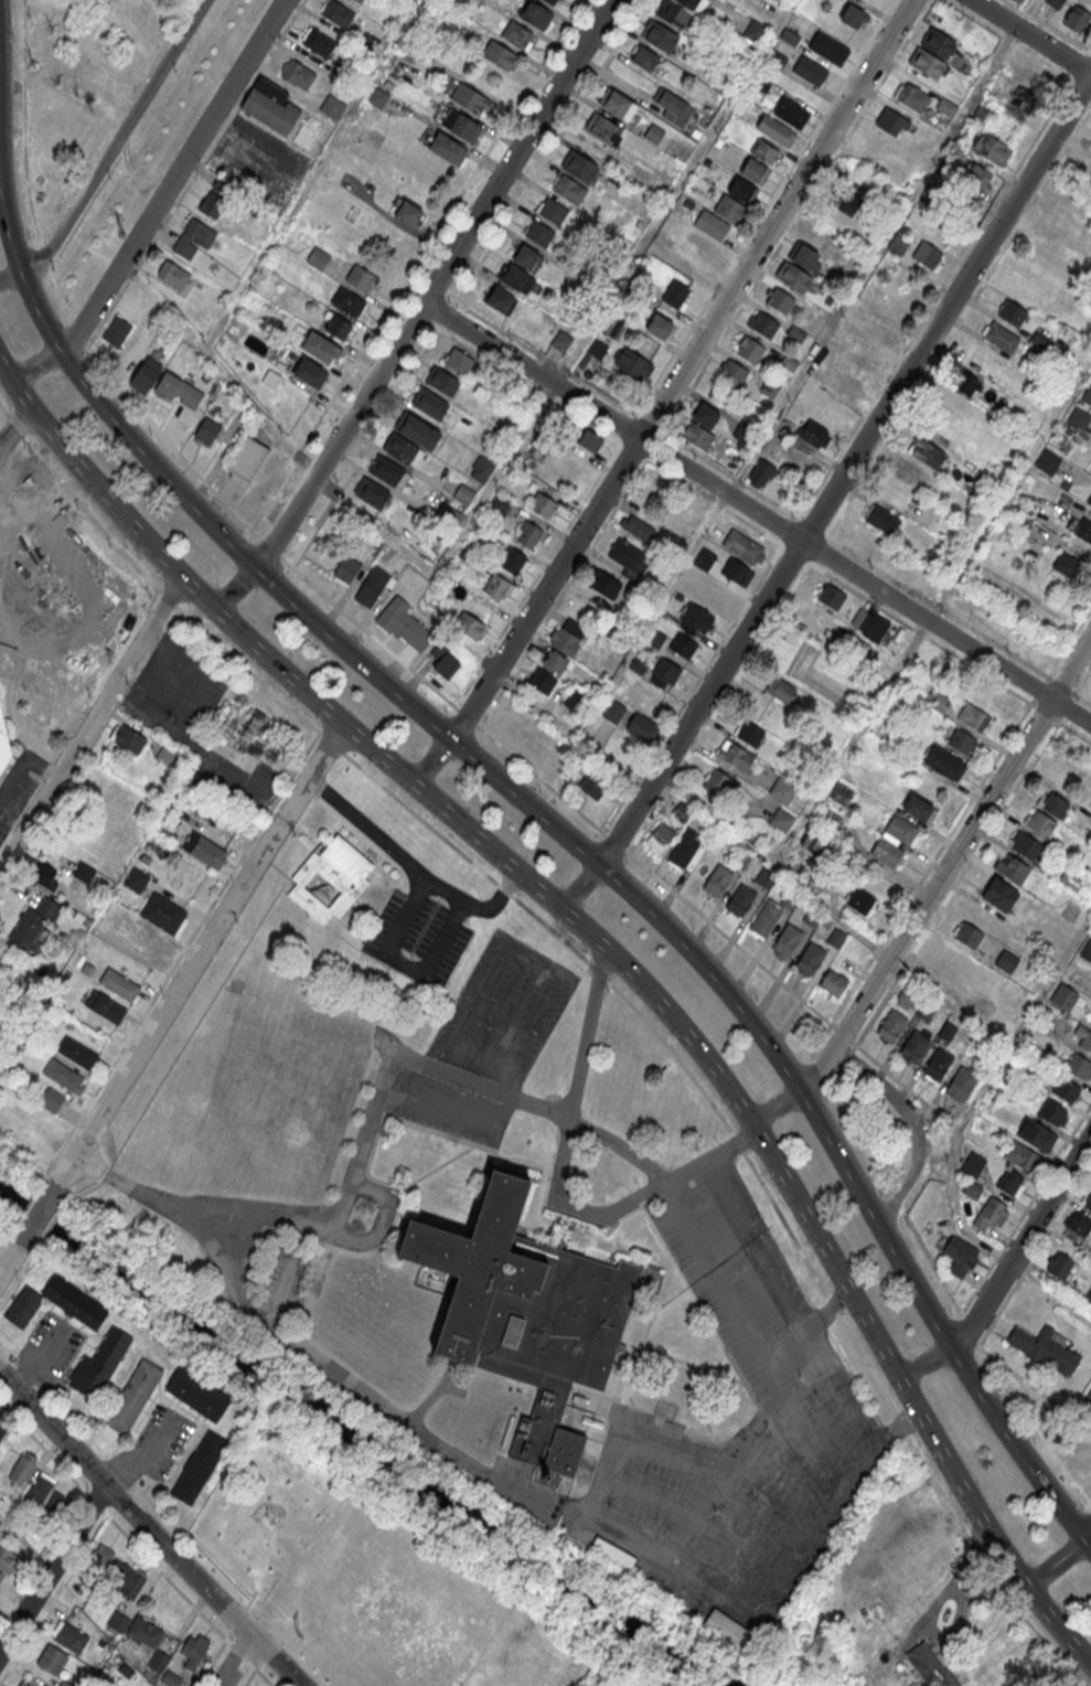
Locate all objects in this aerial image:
building: (359, 1)
building: (1018, 1)
building: (550, 2)
building: (689, 3)
building: (336, 13)
building: (673, 13)
road: (1024, 13)
building: (536, 15)
building: (854, 17)
building: (1078, 19)
road: (1046, 25)
building: (753, 32)
building: (518, 35)
road: (1030, 36)
building: (660, 38)
building: (789, 38)
building: (370, 41)
building: (318, 42)
building: (939, 44)
road: (1022, 47)
building: (828, 50)
road: (1090, 52)
building: (499, 55)
building: (644, 60)
building: (776, 60)
building: (926, 64)
building: (809, 71)
building: (298, 75)
building: (761, 84)
building: (911, 97)
building: (1023, 98)
building: (468, 99)
building: (270, 106)
building: (618, 106)
building: (332, 108)
building: (673, 108)
building: (945, 108)
building: (790, 114)
building: (980, 116)
building: (54, 118)
building: (890, 121)
road: (24, 122)
building: (460, 125)
building: (83, 127)
building: (605, 129)
building: (774, 130)
building: (308, 131)
building: (654, 135)
road: (110, 149)
building: (447, 149)
building: (991, 149)
building: (766, 151)
parking lot: (257, 159)
building: (579, 168)
building: (755, 171)
building: (1085, 174)
road: (173, 175)
building: (980, 177)
building: (741, 190)
building: (569, 191)
building: (217, 198)
building: (846, 202)
building: (728, 207)
building: (553, 212)
building: (408, 213)
building: (712, 224)
building: (1072, 225)
road: (439, 226)
building: (539, 234)
power tower: (120, 235)
building: (193, 238)
building: (898, 244)
building: (710, 249)
building: (927, 254)
road: (43, 257)
building: (806, 257)
building: (528, 258)
building: (318, 259)
road: (20, 269)
building: (172, 276)
building: (793, 276)
building: (516, 278)
building: (362, 279)
building: (675, 294)
building: (499, 299)
building: (779, 300)
building: (349, 303)
road: (419, 308)
building: (1012, 312)
building: (762, 324)
building: (659, 326)
building: (336, 327)
building: (879, 330)
building: (117, 331)
building: (999, 337)
building: (561, 340)
building: (749, 348)
building: (320, 349)
building: (597, 349)
road: (533, 350)
building: (132, 352)
road: (675, 354)
building: (459, 361)
building: (633, 364)
road: (35, 365)
road: (216, 369)
road: (682, 370)
building: (310, 372)
building: (734, 372)
building: (145, 375)
building: (441, 381)
building: (963, 383)
building: (847, 384)
road: (530, 385)
building: (178, 391)
building: (1087, 394)
building: (429, 403)
building: (212, 409)
building: (706, 415)
building: (1079, 417)
road: (14, 430)
building: (207, 431)
building: (815, 435)
building: (697, 436)
building: (589, 441)
building: (400, 447)
building: (927, 453)
building: (248, 458)
building: (1048, 461)
building: (481, 468)
building: (386, 469)
road: (845, 471)
road: (728, 473)
building: (760, 473)
building: (911, 473)
building: (371, 492)
building: (463, 493)
building: (1089, 500)
building: (501, 503)
building: (543, 504)
road: (757, 512)
building: (881, 521)
building: (638, 527)
building: (1083, 529)
building: (530, 535)
building: (373, 546)
building: (742, 547)
building: (629, 558)
building: (513, 561)
building: (704, 561)
building: (349, 566)
building: (1069, 566)
building: (737, 573)
building: (603, 583)
building: (371, 586)
building: (499, 587)
building: (832, 596)
road: (944, 610)
building: (696, 619)
building: (863, 619)
building: (403, 625)
building: (469, 625)
road: (1069, 640)
building: (565, 642)
road: (935, 642)
building: (685, 648)
road: (177, 652)
building: (442, 660)
building: (556, 662)
building: (666, 673)
road: (1082, 679)
building: (542, 682)
road: (692, 687)
building: (780, 690)
building: (577, 701)
building: (613, 713)
road: (462, 714)
building: (972, 718)
road: (89, 722)
road: (165, 723)
building: (642, 727)
building: (247, 733)
building: (749, 733)
building: (130, 739)
building: (962, 740)
building: (4, 745)
building: (735, 755)
building: (167, 757)
road: (430, 760)
building: (944, 764)
road: (43, 766)
road: (314, 768)
road: (14, 780)
building: (716, 781)
building: (593, 783)
building: (782, 789)
building: (842, 793)
parking lot: (15, 799)
building: (1053, 803)
building: (917, 809)
building: (682, 811)
building: (832, 819)
building: (781, 820)
building: (1039, 822)
building: (901, 830)
building: (660, 836)
building: (816, 844)
building: (1025, 844)
building: (687, 850)
building: (206, 851)
building: (887, 853)
building: (742, 861)
road: (411, 863)
building: (1012, 868)
building: (84, 873)
building: (763, 875)
building: (45, 876)
building: (1070, 876)
building: (331, 877)
building: (136, 881)
building: (718, 881)
road: (579, 886)
road: (931, 889)
road: (632, 894)
building: (999, 894)
building: (789, 898)
building: (741, 899)
building: (860, 900)
building: (115, 911)
building: (163, 914)
building: (812, 916)
building: (764, 918)
road: (575, 922)
parking lot: (423, 929)
building: (28, 931)
building: (967, 935)
building: (835, 937)
building: (787, 939)
building: (152, 942)
building: (1085, 950)
road: (182, 951)
building: (811, 958)
building: (1006, 961)
road: (403, 962)
building: (833, 982)
road: (612, 984)
building: (119, 985)
building: (1063, 996)
building: (907, 1000)
road: (168, 1004)
building: (105, 1009)
parking lot: (504, 1009)
building: (926, 1010)
building: (891, 1025)
building: (946, 1029)
building: (1085, 1041)
building: (914, 1045)
building: (77, 1054)
building: (938, 1064)
building: (1079, 1067)
building: (63, 1076)
building: (960, 1084)
building: (1066, 1089)
road: (983, 1092)
road: (937, 1093)
building: (52, 1099)
road: (535, 1101)
building: (1052, 1112)
road: (916, 1121)
road: (367, 1130)
building: (1037, 1134)
building: (1020, 1155)
building: (973, 1164)
building: (1010, 1182)
road: (556, 1183)
river: (9, 1198)
building: (1087, 1201)
road: (30, 1205)
road: (38, 1213)
building: (991, 1213)
river: (36, 1217)
road: (312, 1225)
building: (1081, 1225)
road: (4, 1240)
road: (1023, 1240)
building: (959, 1255)
road: (9, 1259)
building: (1059, 1266)
building: (76, 1304)
road: (787, 1306)
building: (524, 1312)
road: (806, 1327)
road: (751, 1338)
building: (1044, 1348)
parking lot: (49, 1349)
road: (314, 1352)
parking lot: (787, 1358)
road: (924, 1363)
building: (99, 1364)
building: (197, 1394)
building: (1089, 1395)
building: (133, 1396)
building: (338, 1429)
building: (1, 1431)
parking lot: (160, 1441)
road: (42, 1445)
river: (395, 1451)
road: (146, 1455)
road: (742, 1455)
building: (200, 1468)
building: (22, 1470)
road: (791, 1484)
building: (39, 1491)
building: (54, 1511)
road: (698, 1516)
road: (149, 1529)
road: (121, 1532)
road: (1088, 1537)
road: (637, 1540)
road: (1088, 1544)
road: (24, 1545)
building: (8, 1560)
road: (1055, 1562)
building: (98, 1564)
road: (52, 1568)
park: (392, 1568)
building: (129, 1581)
road: (1047, 1614)
building: (117, 1623)
building: (728, 1630)
building: (145, 1633)
building: (69, 1637)
building: (193, 1650)
road: (1081, 1653)
building: (51, 1661)
road: (235, 1661)
building: (158, 1662)
road: (211, 1662)
building: (930, 1666)
road: (264, 1677)
building: (171, 1679)
building: (23, 1684)
building: (65, 1684)

